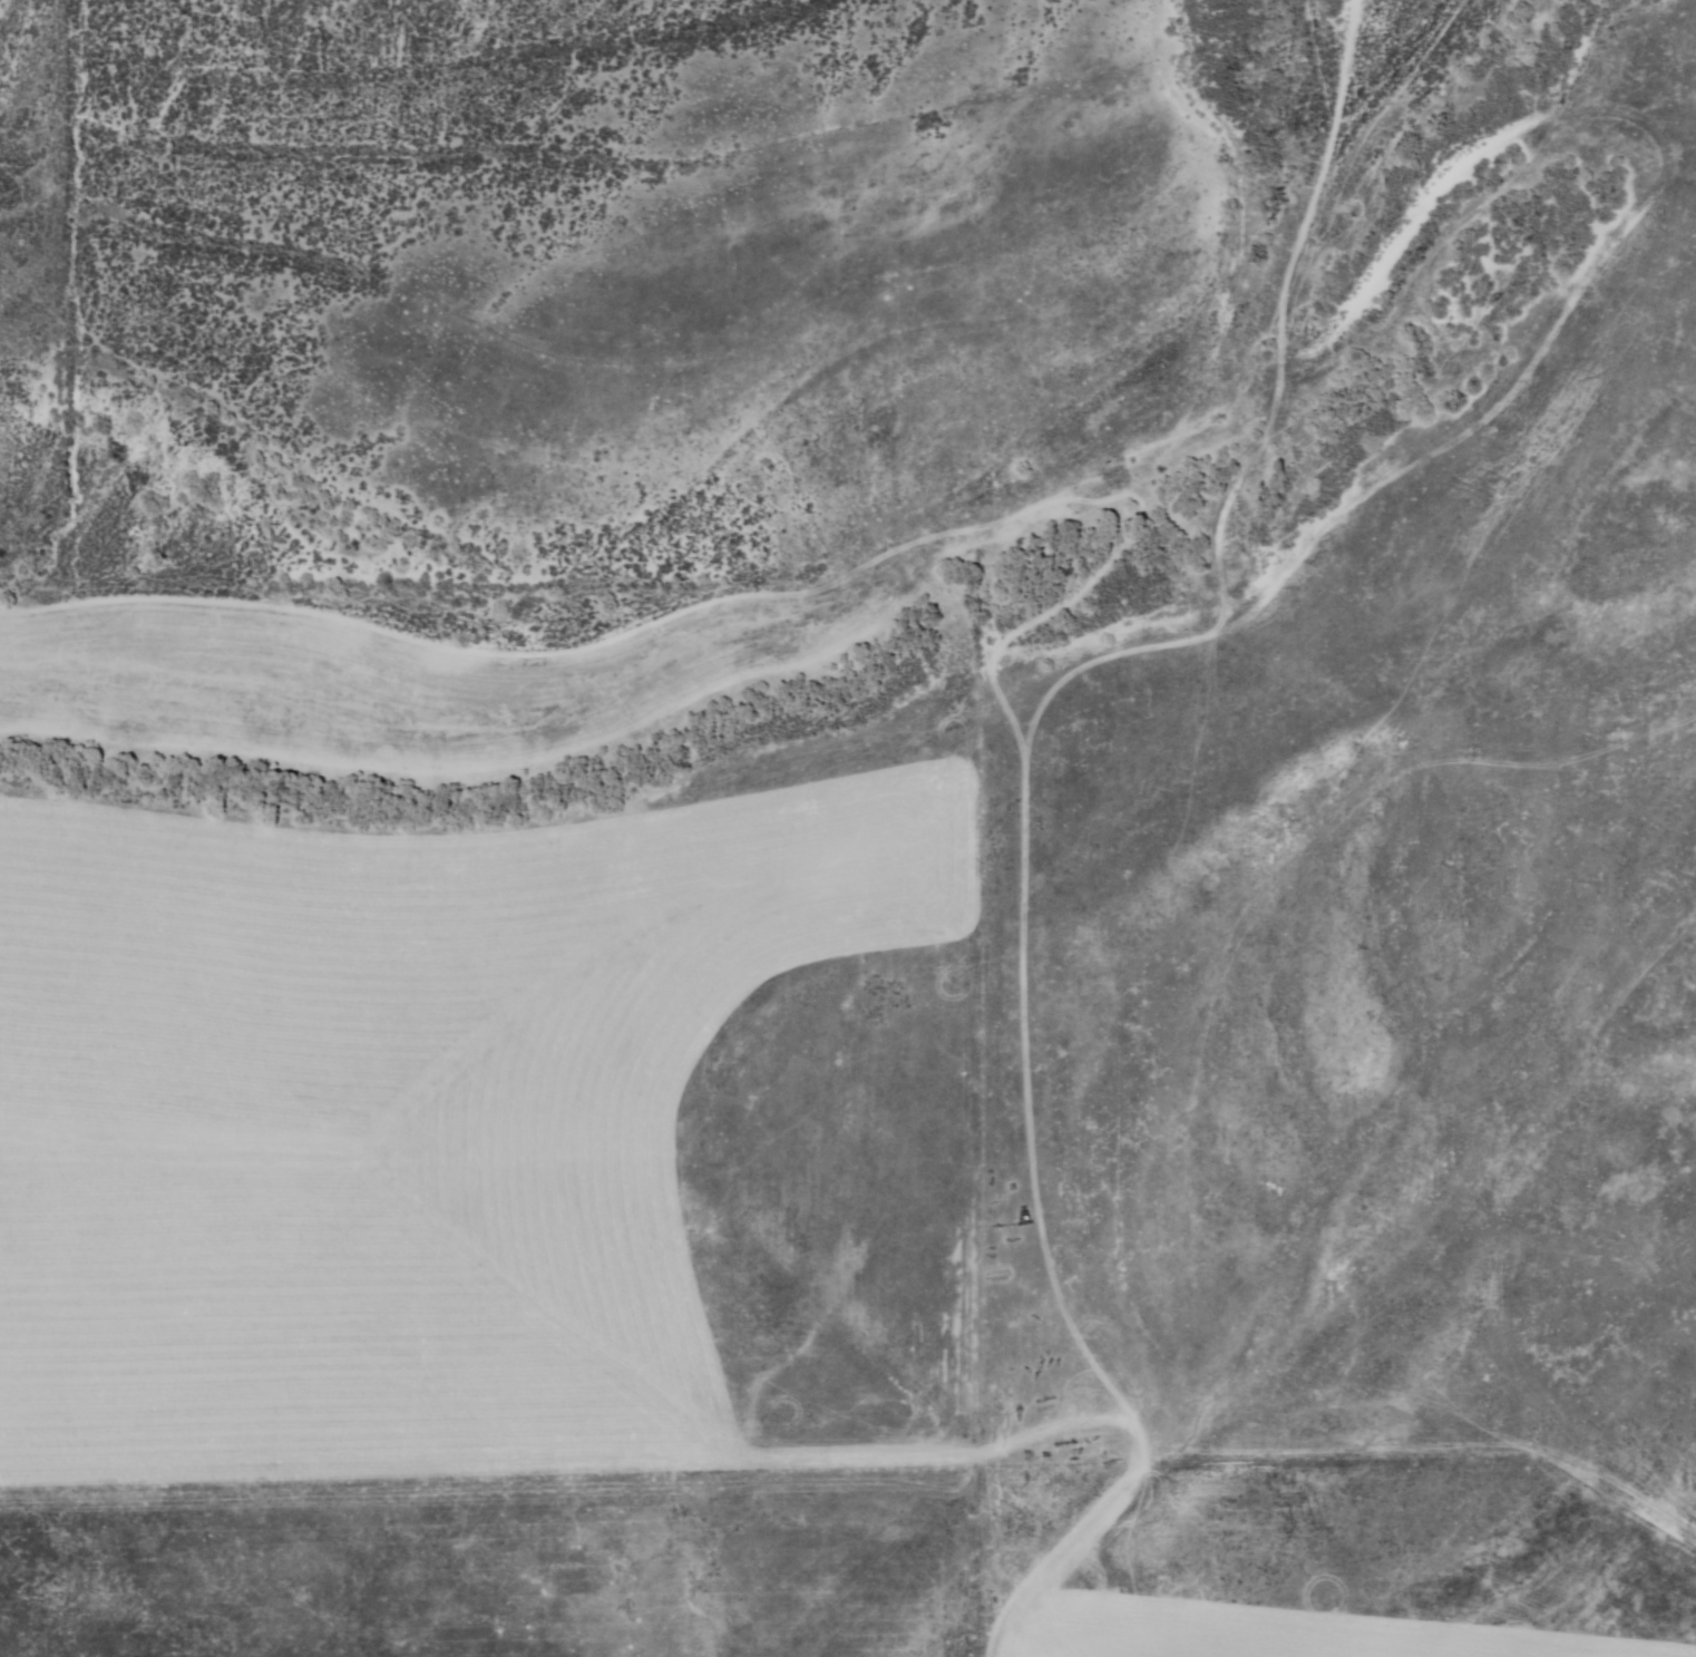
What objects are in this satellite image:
road: (1014, 767)

